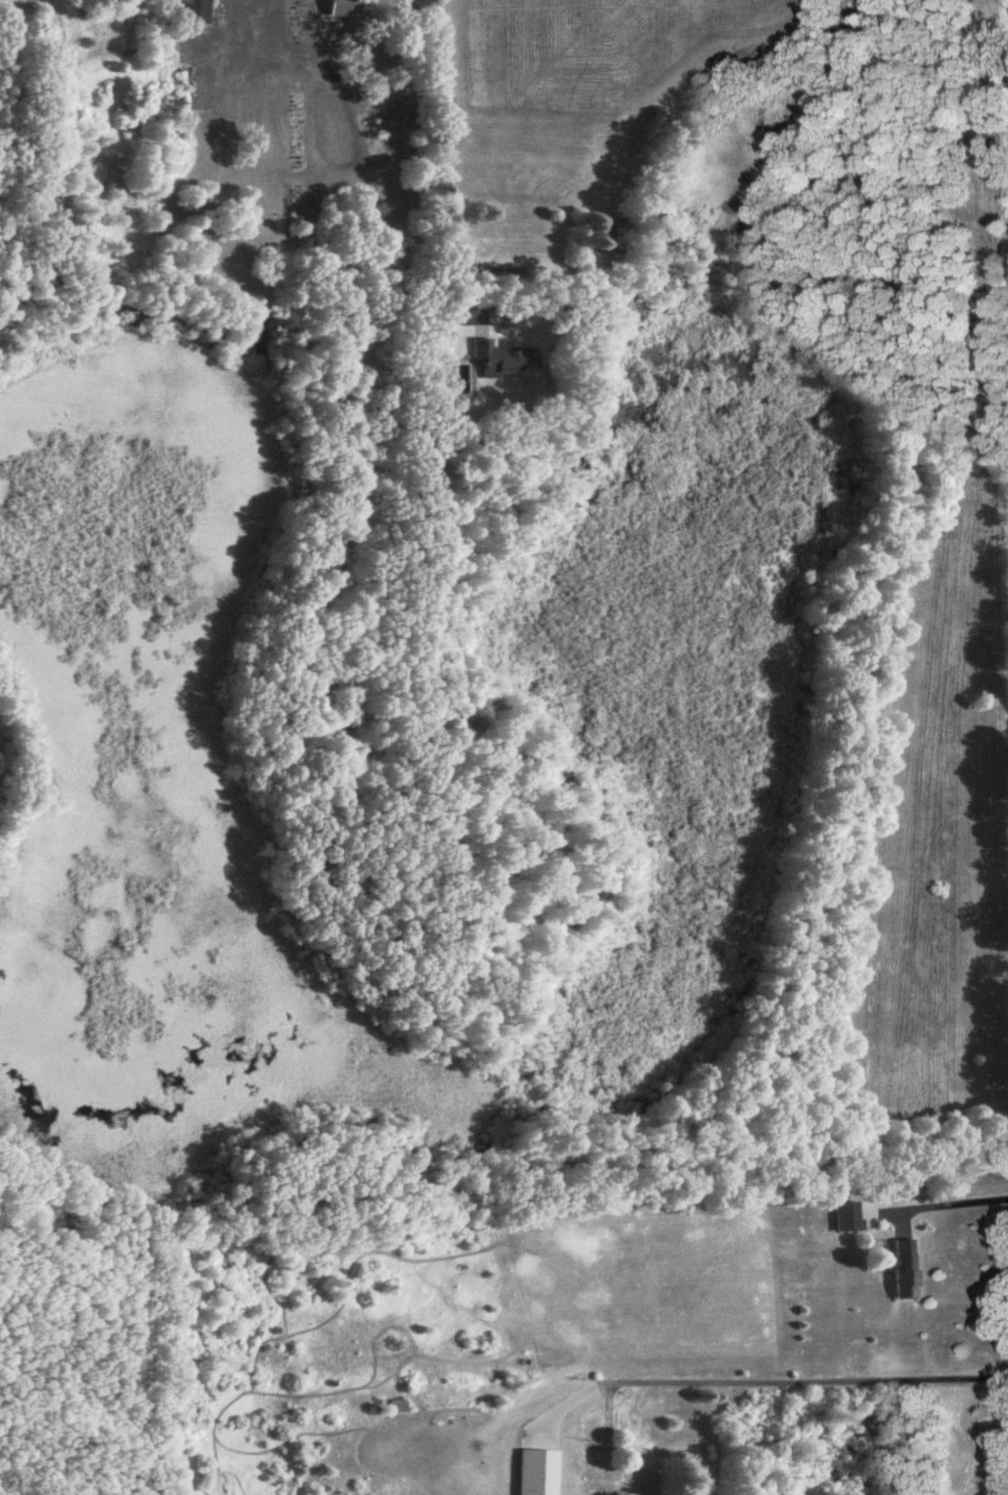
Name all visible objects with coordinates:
building: (313, 0)
building: (347, 8)
building: (194, 12)
building: (612, 236)
building: (498, 361)
road: (947, 1205)
building: (850, 1218)
building: (906, 1270)
road: (787, 1381)
building: (400, 1407)
building: (593, 1438)
building: (540, 1473)
building: (638, 1481)

